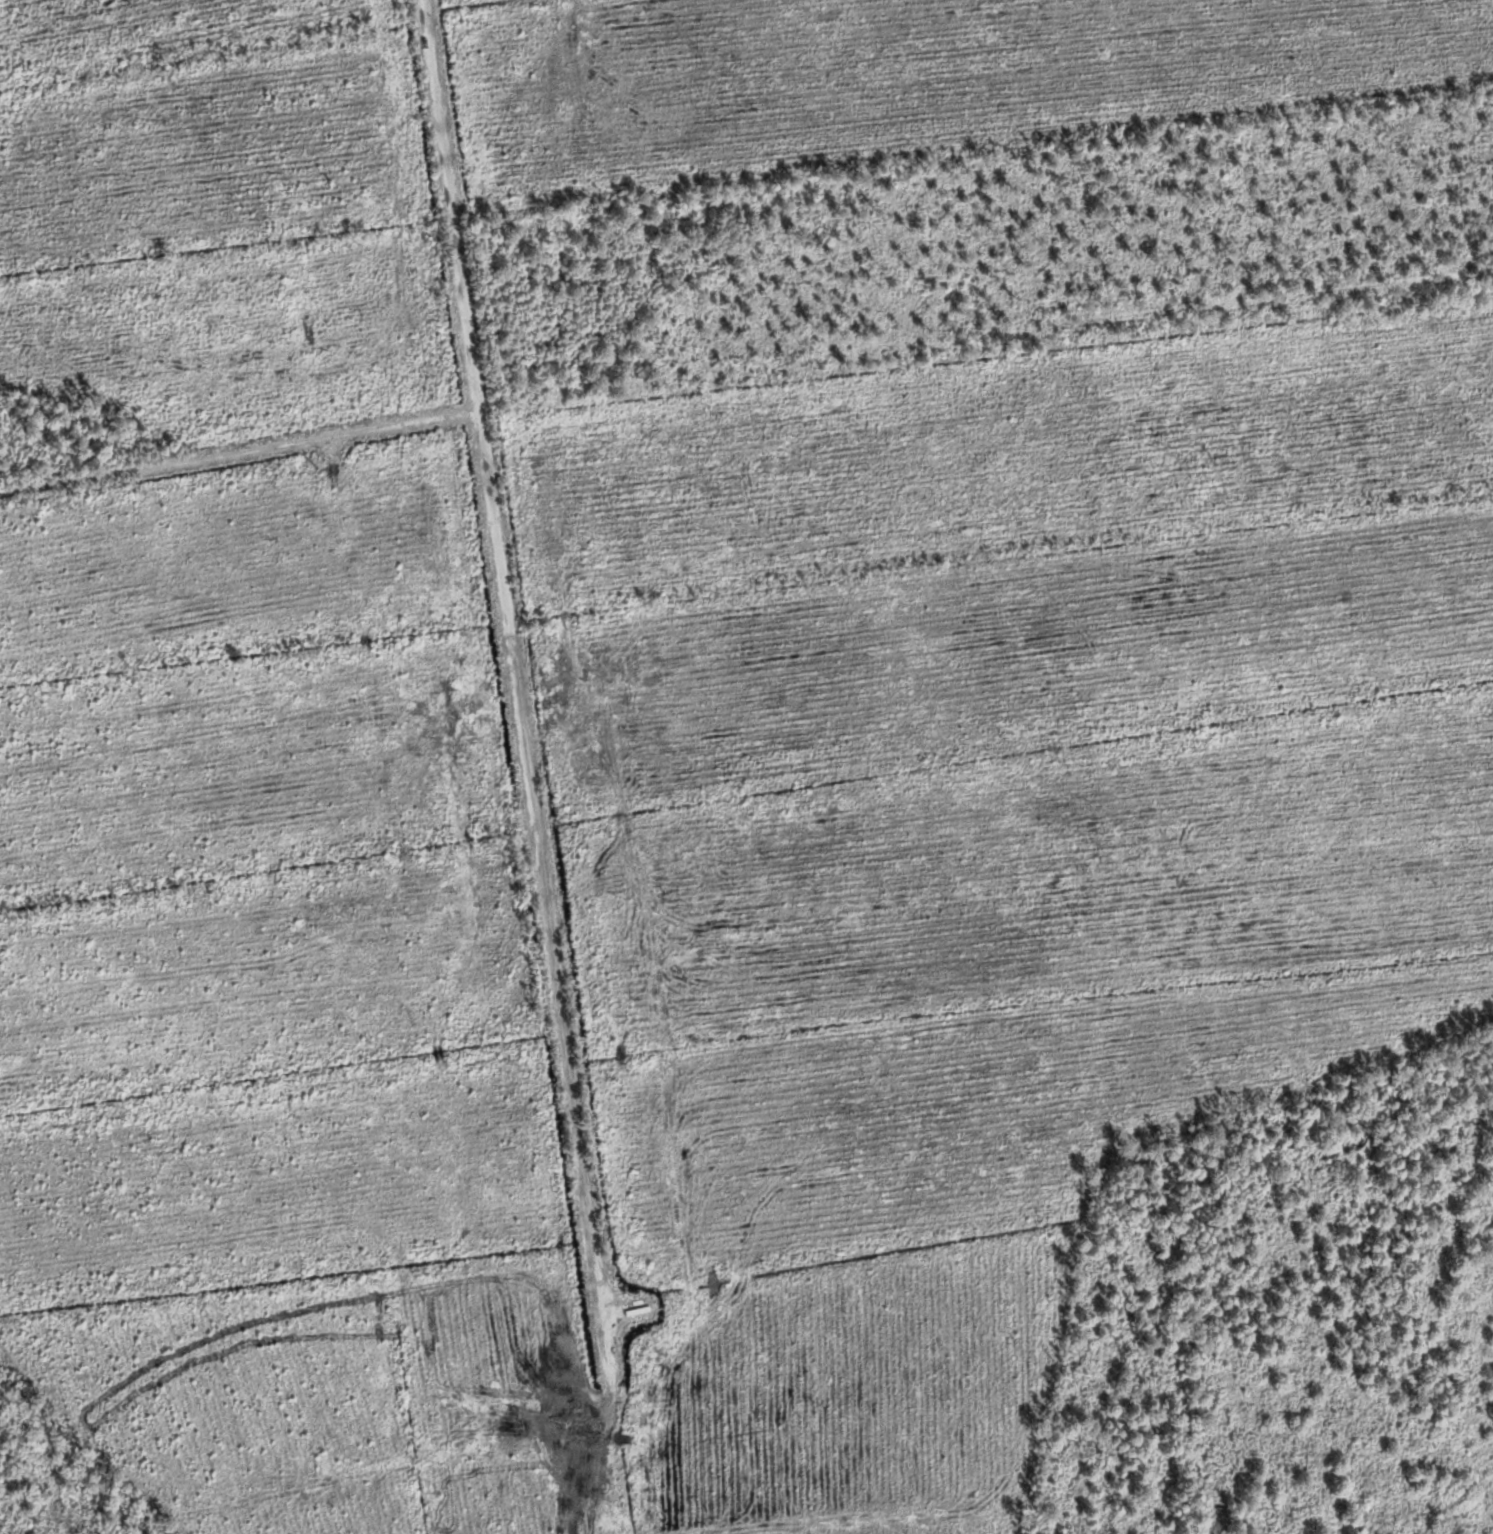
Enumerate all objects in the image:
road: (524, 574)

